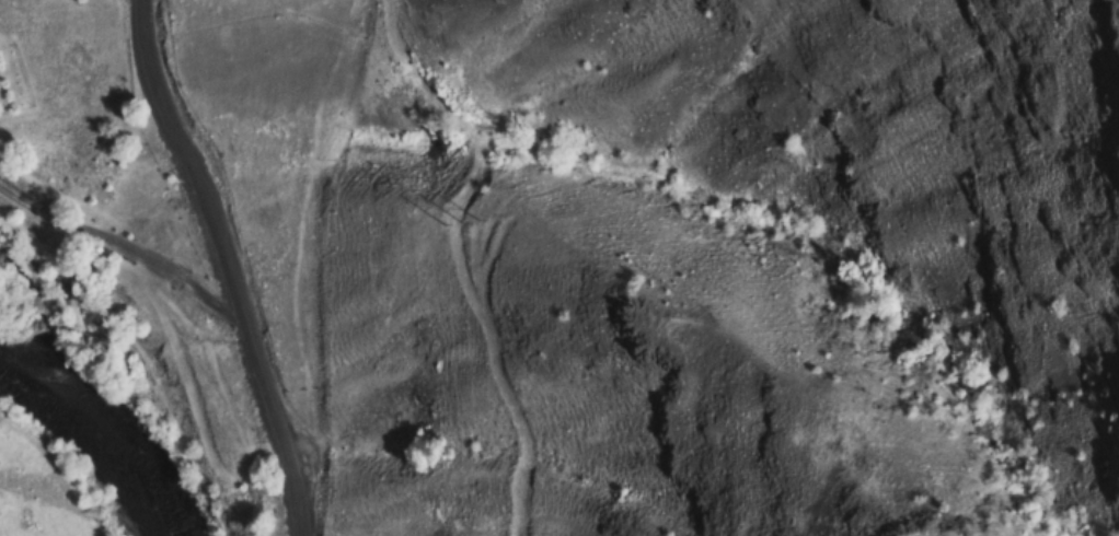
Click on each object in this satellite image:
power tower: (459, 224)
road: (128, 253)
road: (227, 265)
river: (100, 434)

